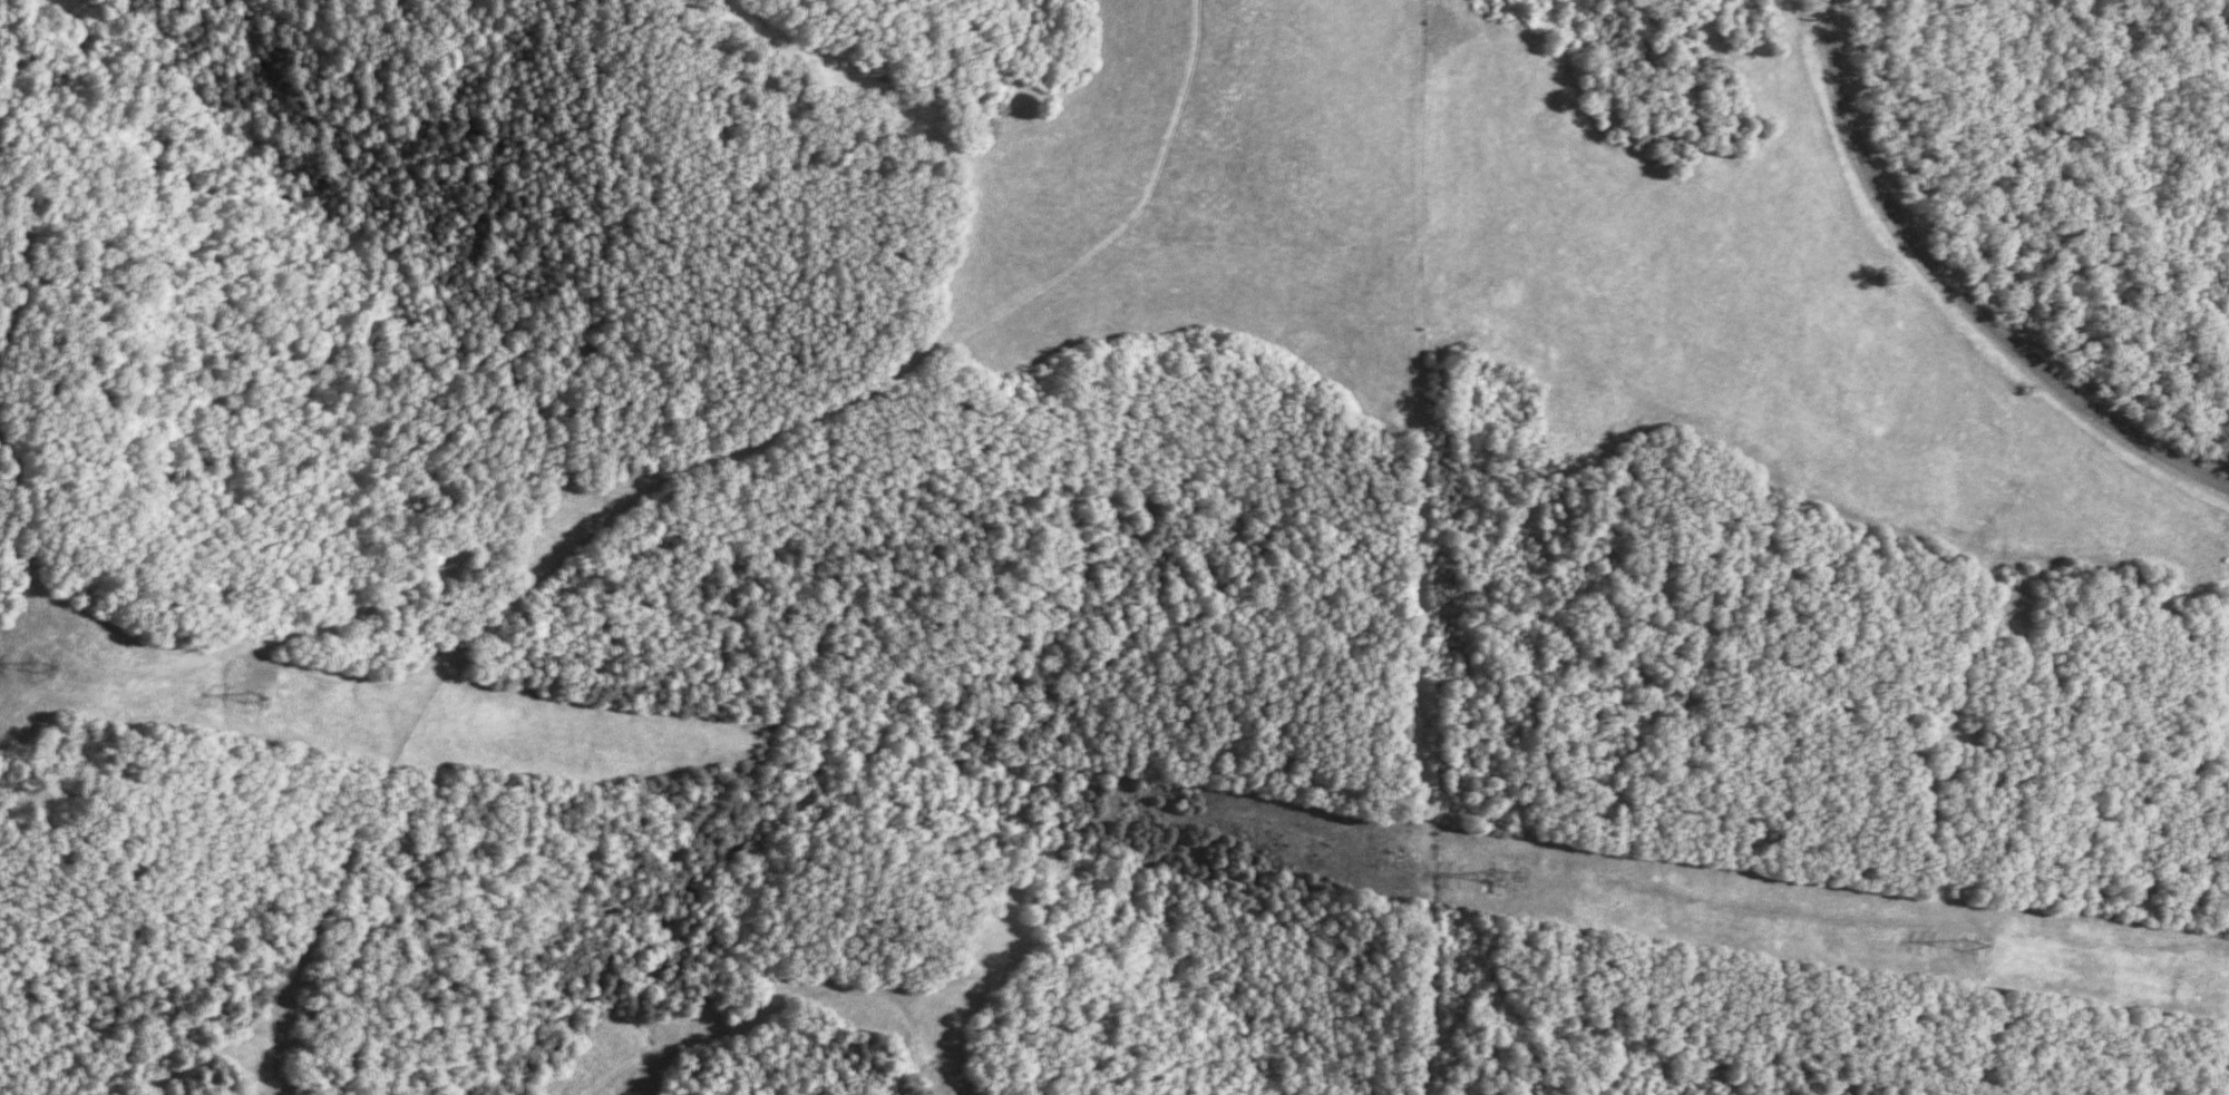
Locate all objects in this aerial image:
road: (1963, 294)

